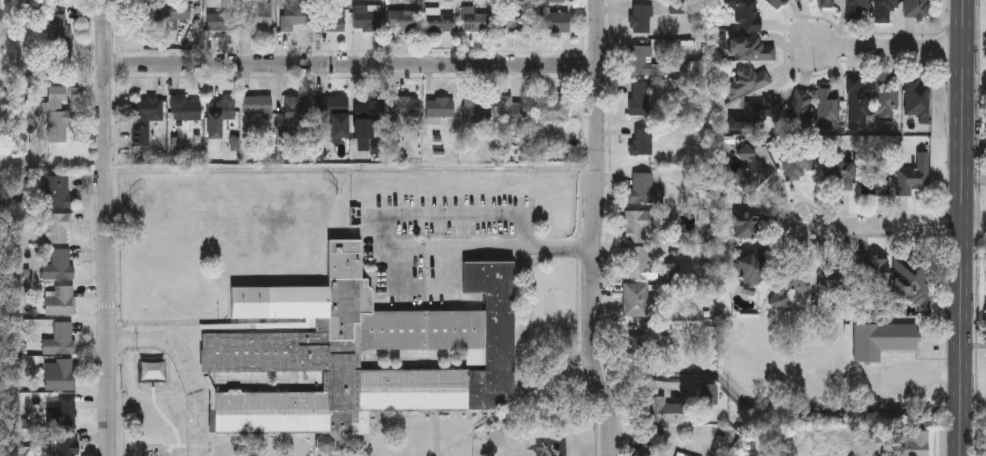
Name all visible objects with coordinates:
building: (794, 0)
building: (556, 1)
building: (775, 3)
building: (825, 3)
building: (916, 7)
building: (856, 9)
building: (884, 10)
building: (180, 13)
building: (746, 13)
building: (259, 15)
building: (150, 16)
building: (292, 16)
building: (641, 18)
building: (331, 19)
building: (367, 19)
building: (404, 20)
building: (475, 20)
building: (515, 20)
building: (553, 20)
building: (222, 21)
building: (439, 23)
building: (57, 26)
building: (751, 47)
road: (891, 48)
building: (641, 59)
road: (351, 65)
building: (747, 81)
building: (639, 98)
building: (916, 100)
building: (858, 101)
building: (886, 102)
building: (258, 105)
building: (827, 105)
building: (801, 106)
building: (331, 107)
building: (185, 108)
building: (221, 108)
building: (439, 109)
building: (553, 109)
building: (296, 110)
building: (405, 110)
building: (476, 110)
building: (512, 111)
building: (757, 113)
building: (57, 114)
building: (144, 117)
building: (367, 118)
building: (642, 141)
road: (976, 148)
building: (797, 163)
building: (751, 170)
building: (838, 174)
building: (914, 175)
road: (976, 175)
building: (875, 182)
building: (645, 189)
building: (53, 191)
building: (644, 223)
building: (746, 223)
road: (885, 226)
road: (976, 226)
building: (57, 227)
road: (106, 228)
road: (965, 228)
road: (595, 229)
road: (394, 247)
building: (642, 262)
building: (62, 263)
building: (750, 269)
building: (873, 269)
building: (839, 276)
building: (910, 276)
building: (179, 283)
building: (789, 291)
building: (636, 299)
building: (60, 300)
building: (179, 310)
building: (148, 312)
building: (60, 338)
building: (357, 340)
building: (647, 340)
building: (882, 340)
building: (180, 349)
building: (149, 352)
road: (189, 366)
building: (59, 375)
building: (187, 408)
building: (156, 410)
building: (664, 410)
building: (65, 411)
building: (325, 441)
building: (916, 443)
building: (67, 444)
building: (682, 454)

